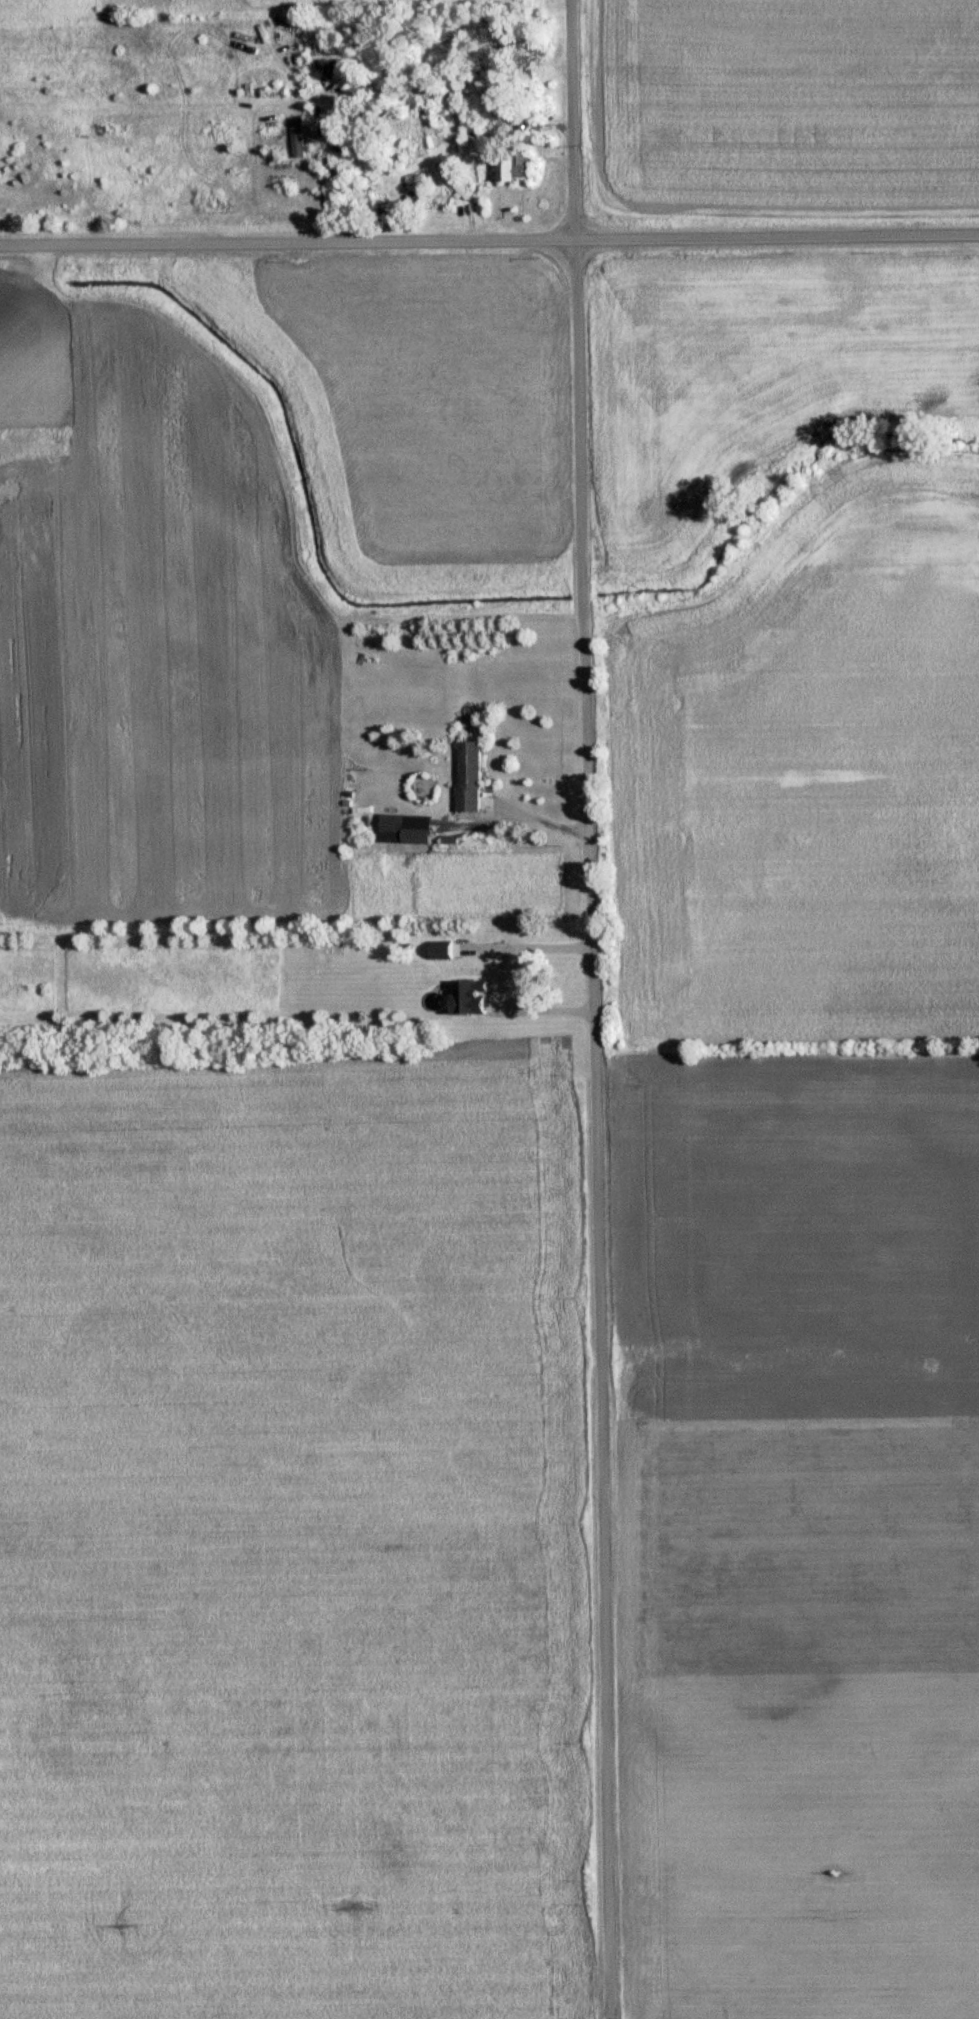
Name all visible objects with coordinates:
road: (564, 119)
building: (519, 165)
building: (455, 181)
road: (489, 239)
road: (575, 537)
building: (473, 775)
road: (538, 821)
building: (407, 828)
building: (444, 949)
building: (473, 995)
road: (592, 1428)

